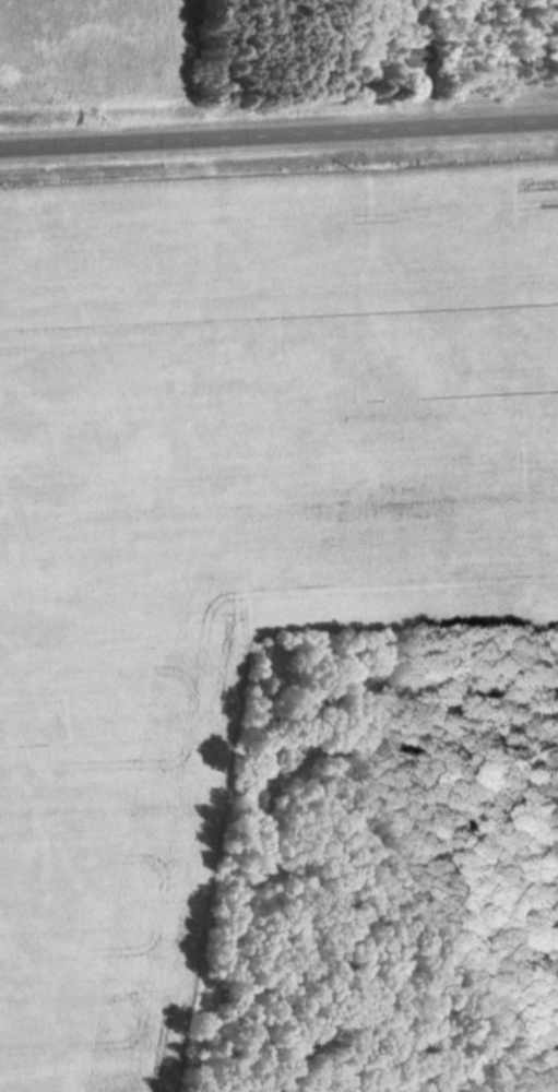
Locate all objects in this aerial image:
building: (419, 57)
road: (278, 127)

